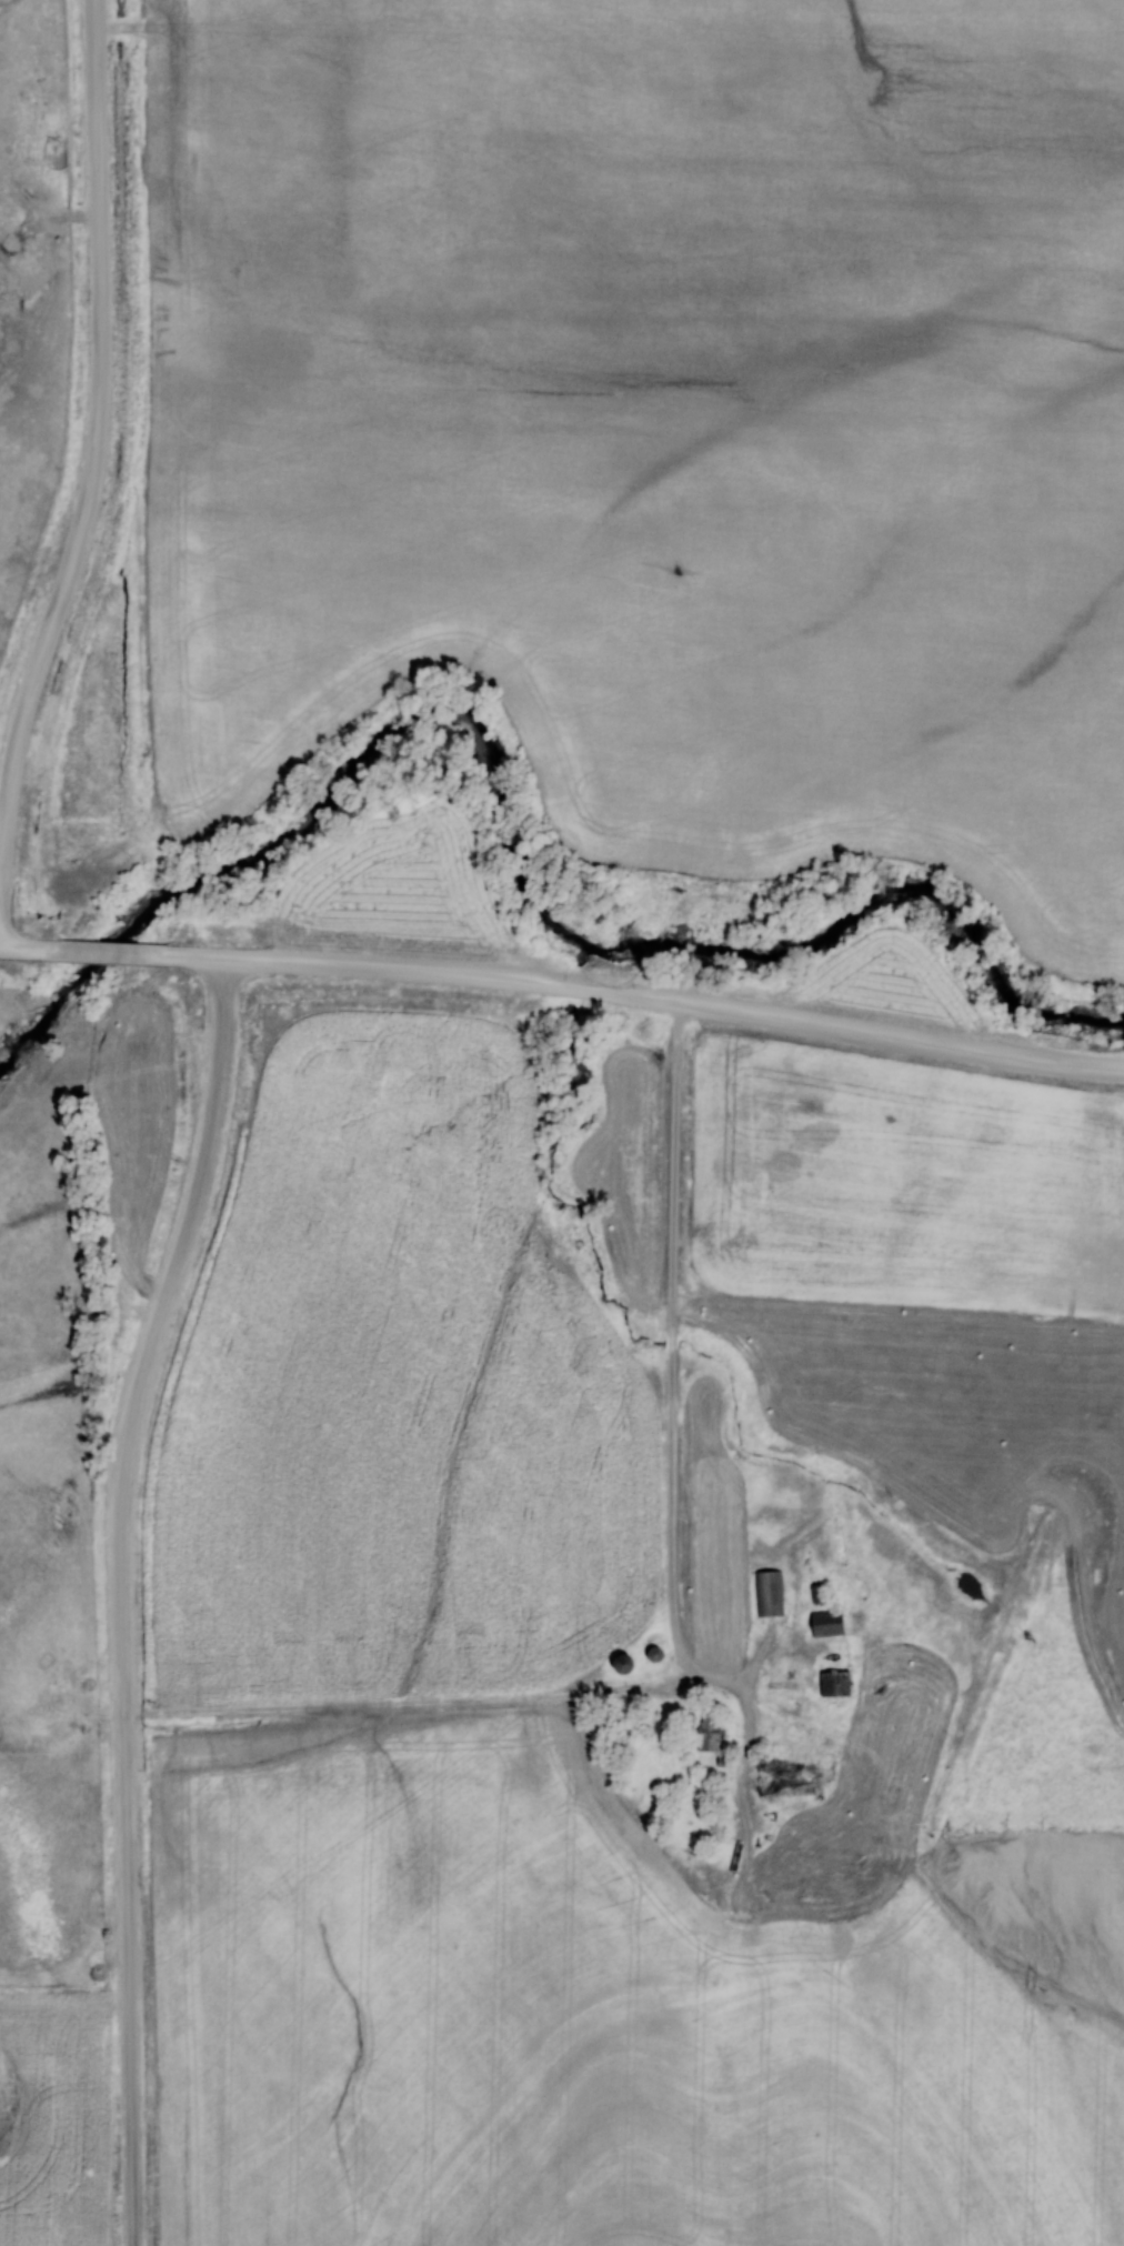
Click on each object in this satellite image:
road: (96, 435)
river: (505, 849)
road: (26, 947)
road: (107, 952)
road: (644, 995)
building: (769, 1592)
road: (122, 1595)
building: (824, 1622)
building: (832, 1682)
building: (704, 1731)

